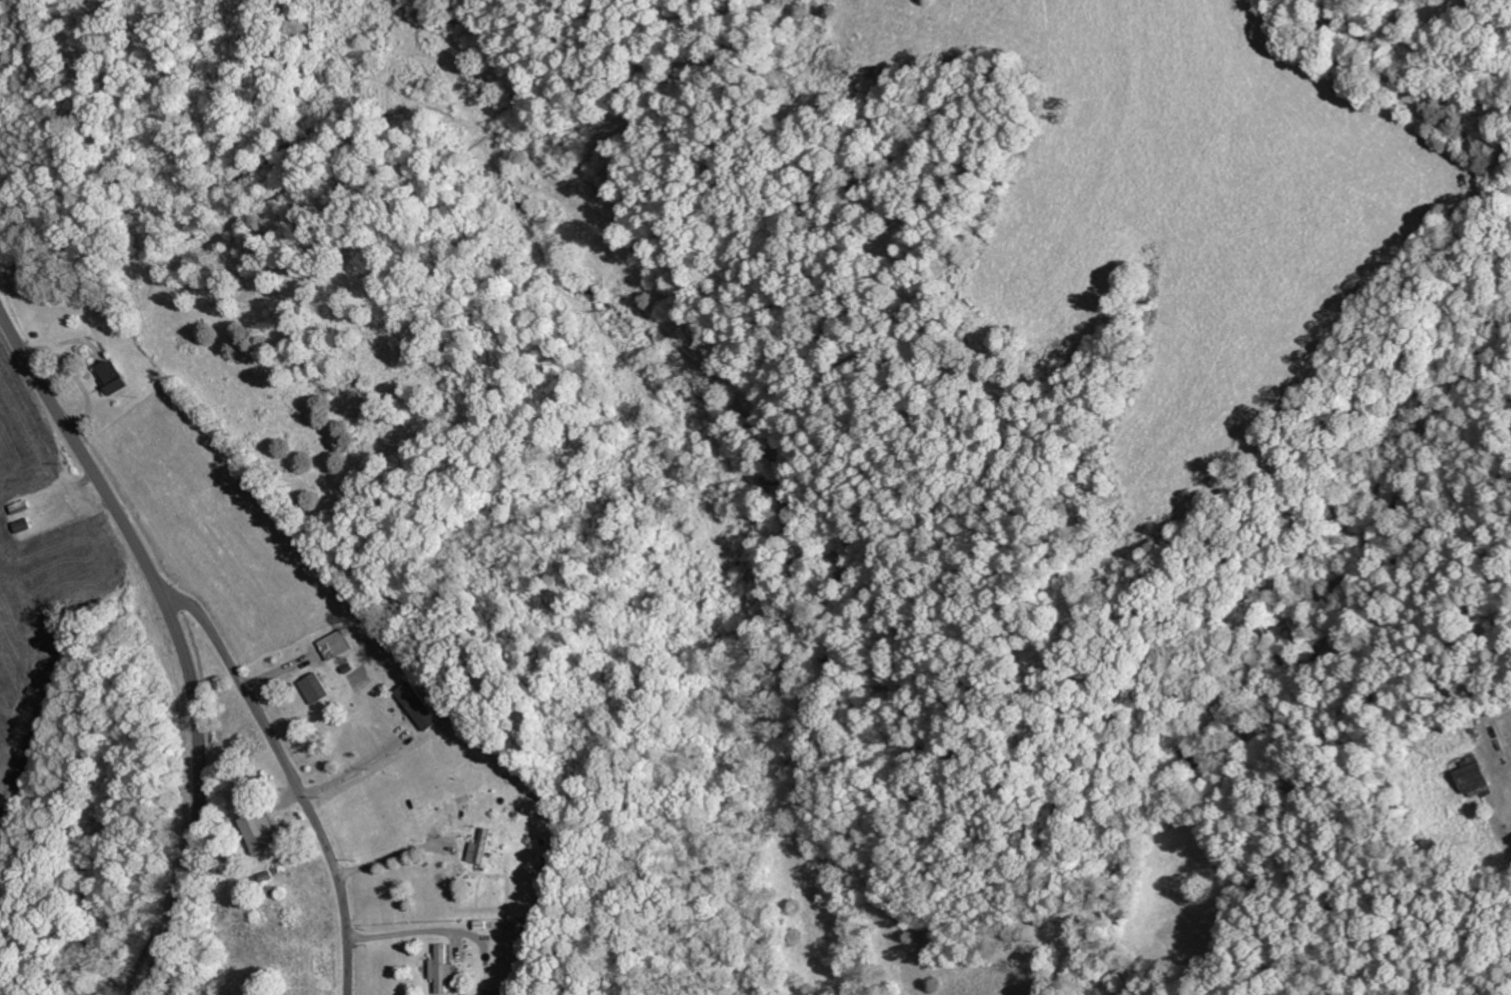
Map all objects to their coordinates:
building: (113, 376)
building: (20, 524)
road: (176, 634)
building: (314, 688)
building: (418, 705)
road: (293, 774)
building: (1473, 777)
building: (260, 832)
building: (480, 847)
building: (440, 968)

